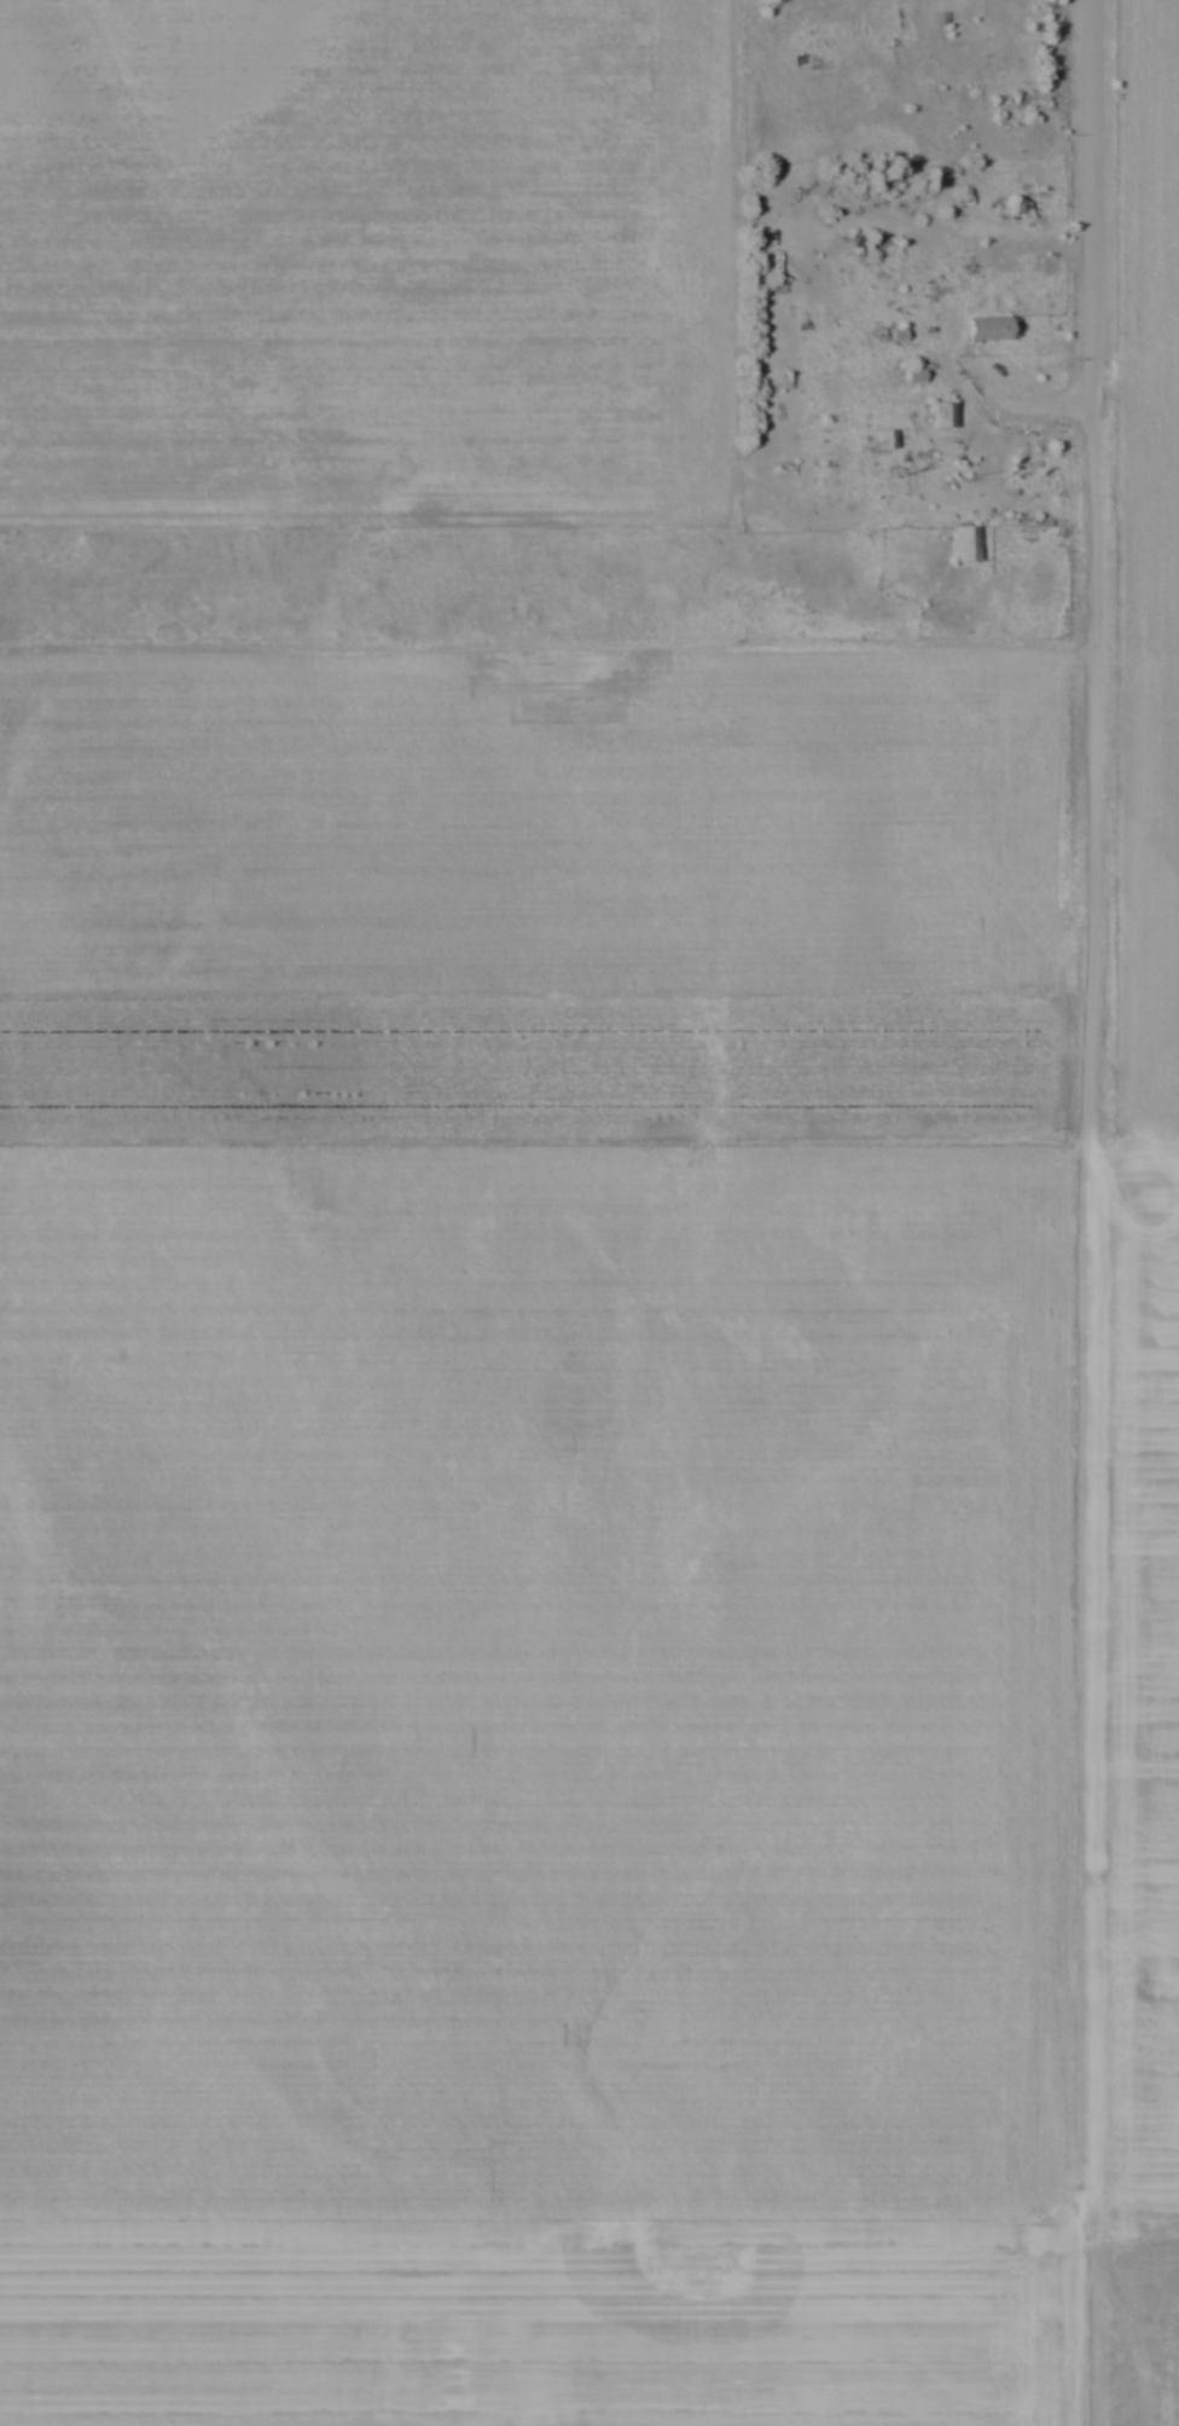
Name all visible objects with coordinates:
building: (994, 330)
building: (946, 417)
building: (888, 441)
road: (1088, 1081)

